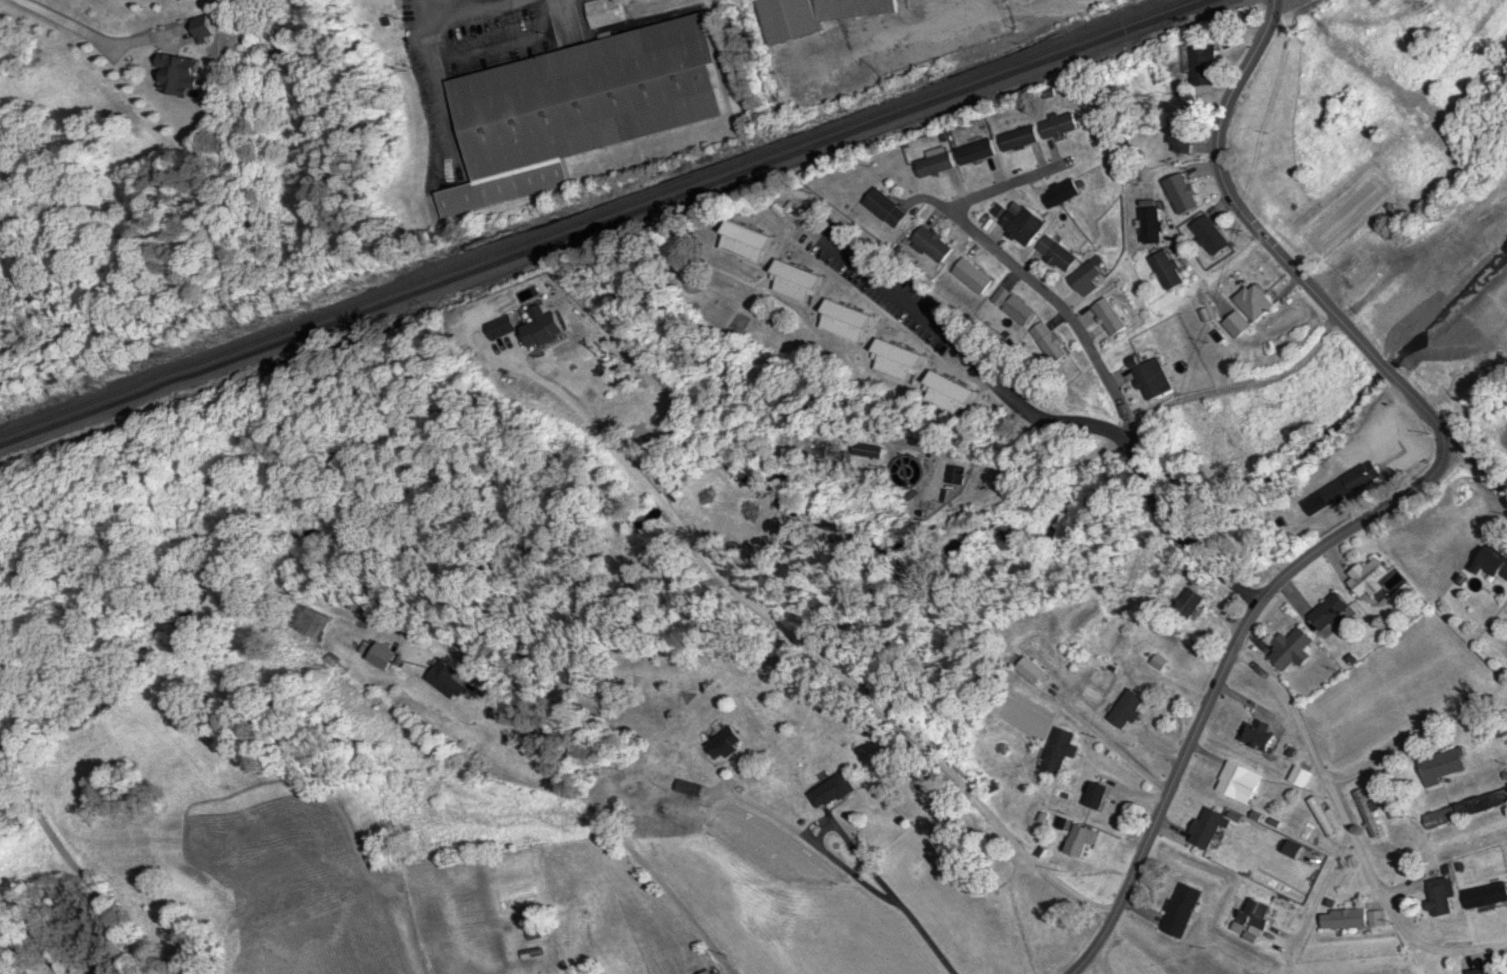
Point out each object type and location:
building: (605, 12)
road: (51, 18)
building: (208, 31)
building: (826, 43)
building: (1207, 65)
building: (181, 73)
building: (583, 108)
building: (1062, 125)
building: (1185, 134)
building: (1022, 138)
building: (978, 151)
building: (938, 164)
building: (1064, 193)
building: (1185, 193)
building: (888, 208)
railway: (589, 217)
railway: (602, 222)
building: (1025, 224)
building: (1154, 225)
road: (1263, 234)
building: (1213, 235)
building: (749, 241)
building: (935, 244)
building: (1059, 253)
building: (1171, 270)
road: (1215, 275)
building: (975, 276)
building: (1090, 277)
building: (799, 282)
building: (1258, 301)
building: (1015, 306)
building: (1112, 316)
building: (849, 321)
building: (1241, 324)
river: (1454, 330)
road: (1092, 348)
building: (900, 361)
river: (1390, 367)
building: (1153, 377)
building: (953, 392)
road: (1060, 423)
building: (811, 446)
building: (871, 451)
road: (1474, 458)
river: (1282, 465)
building: (1352, 484)
river: (1150, 485)
river: (563, 521)
building: (1496, 561)
building: (1369, 578)
building: (1192, 604)
building: (1333, 611)
building: (316, 621)
building: (1294, 649)
building: (388, 656)
road: (1223, 667)
building: (1035, 671)
building: (450, 679)
building: (1130, 708)
building: (1260, 735)
building: (727, 743)
building: (1060, 750)
building: (1445, 765)
building: (1302, 775)
building: (1241, 781)
building: (834, 790)
building: (1098, 794)
building: (1467, 809)
building: (1370, 813)
building: (1325, 816)
building: (1208, 827)
road: (1351, 829)
building: (1080, 847)
building: (1297, 850)
building: (1442, 894)
building: (1487, 895)
road: (886, 896)
building: (1183, 910)
building: (1255, 914)
building: (1346, 918)
building: (1378, 918)
road: (1102, 963)
building: (1484, 971)
building: (710, 972)

